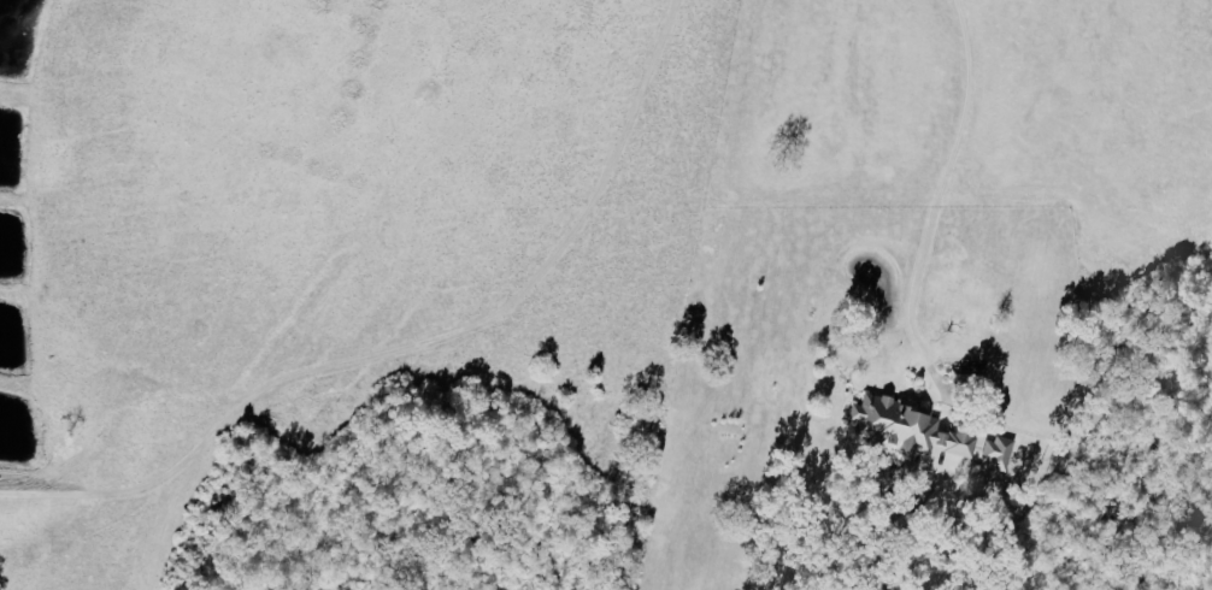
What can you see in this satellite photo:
road: (946, 195)
building: (901, 426)
building: (992, 450)
road: (898, 571)

